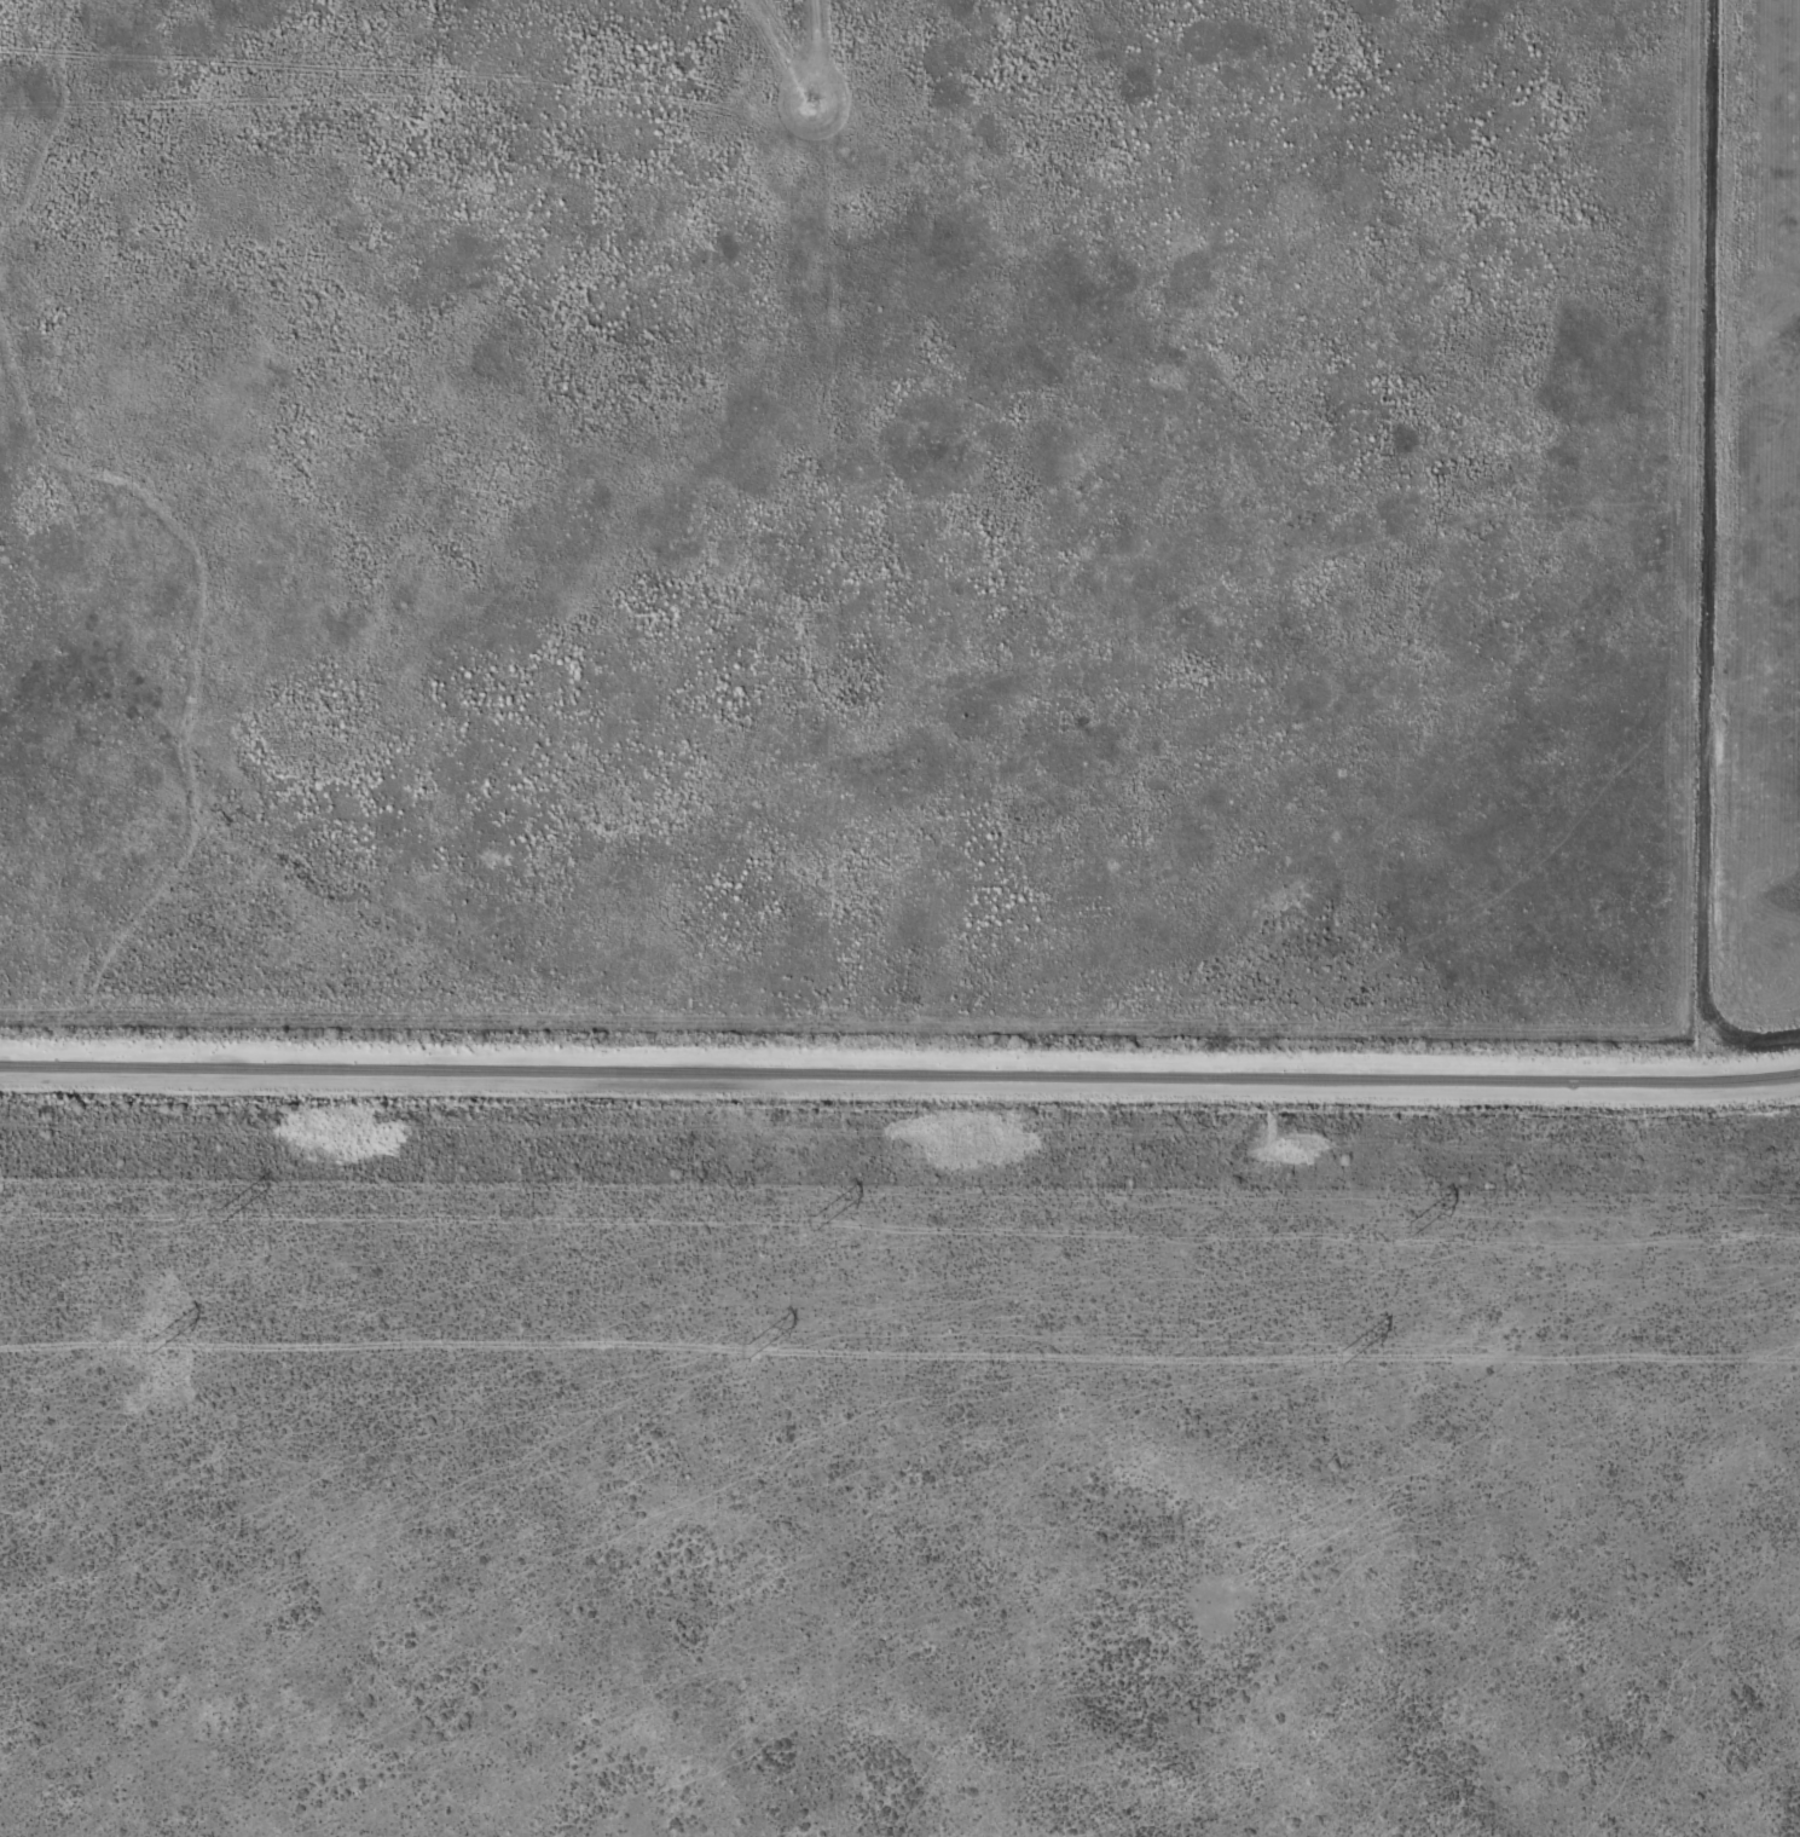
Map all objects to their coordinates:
railway: (899, 1075)
power tower: (219, 1215)
power tower: (814, 1218)
power tower: (1412, 1225)
power tower: (149, 1341)
power tower: (748, 1347)
power tower: (1339, 1353)

